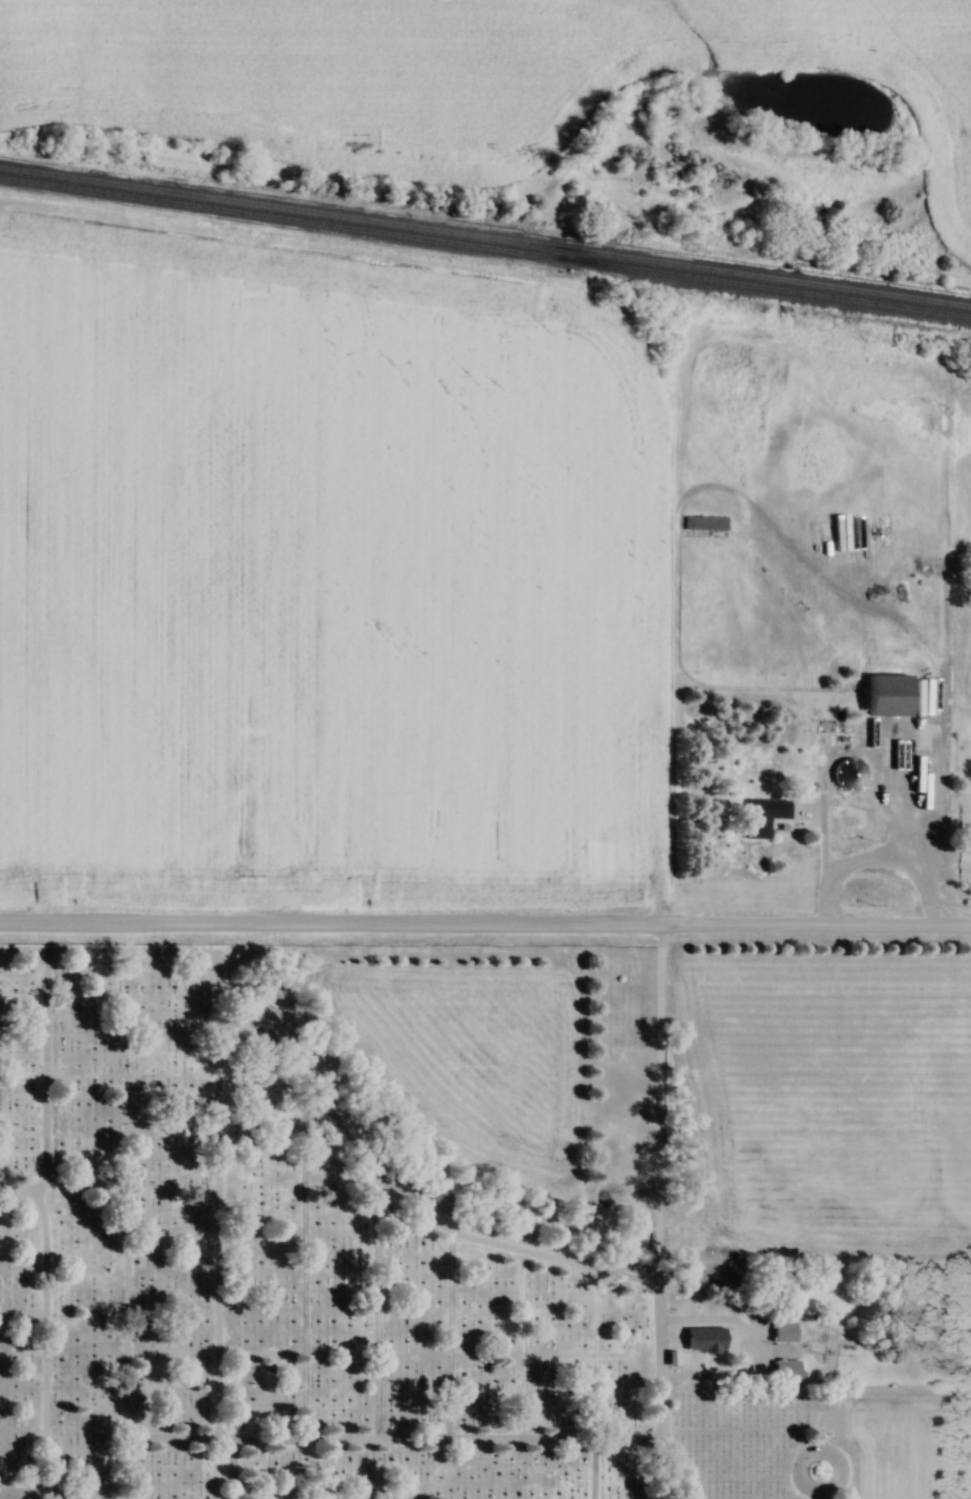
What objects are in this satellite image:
railway: (485, 237)
railway: (485, 247)
crop: (963, 454)
building: (704, 523)
building: (849, 554)
crop: (327, 575)
crop: (966, 677)
building: (889, 692)
building: (848, 775)
building: (925, 801)
building: (763, 816)
road: (817, 860)
road: (485, 927)
road: (213, 1092)
road: (400, 1200)
road: (653, 1213)
road: (38, 1227)
park: (365, 1240)
road: (120, 1303)
building: (784, 1331)
building: (718, 1336)
building: (785, 1373)
road: (388, 1443)
road: (829, 1456)
road: (228, 1471)
road: (587, 1472)
road: (819, 1495)

